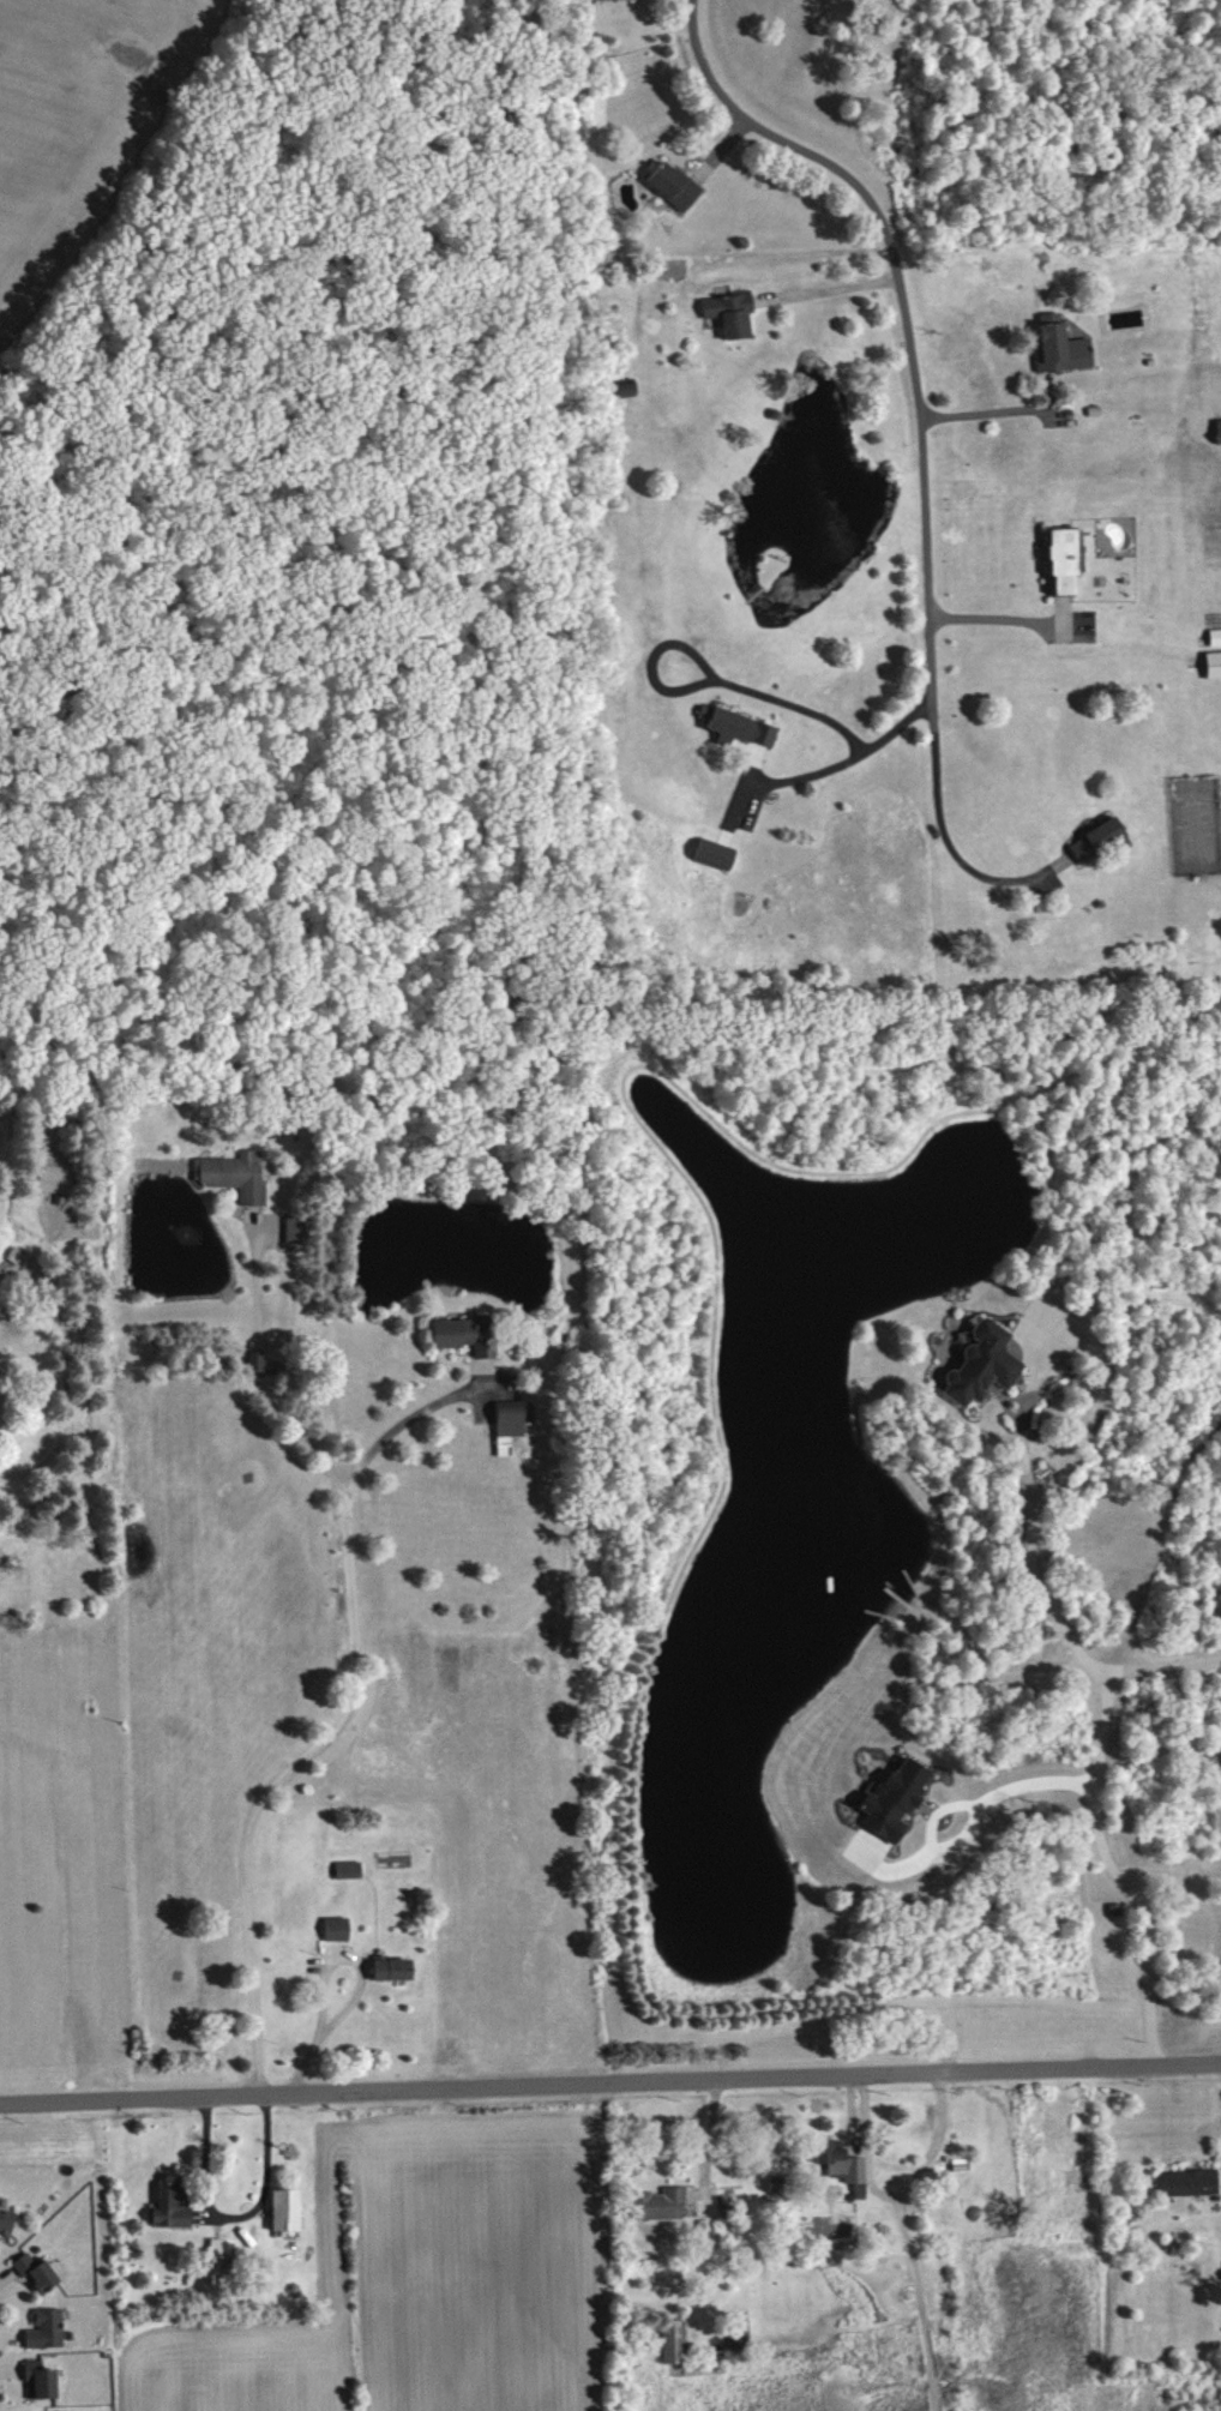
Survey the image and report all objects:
building: (676, 185)
road: (825, 284)
road: (904, 311)
building: (734, 313)
building: (1063, 347)
road: (986, 404)
building: (1220, 429)
building: (1065, 561)
road: (997, 613)
building: (1215, 665)
road: (800, 705)
building: (741, 727)
road: (847, 752)
building: (1101, 840)
road: (949, 844)
building: (716, 854)
building: (58, 1172)
building: (237, 1176)
building: (300, 1229)
building: (467, 1336)
building: (259, 1361)
building: (985, 1364)
road: (71, 1387)
building: (515, 1418)
road: (307, 1439)
road: (1057, 1611)
road: (1166, 1666)
road: (337, 1715)
building: (897, 1799)
road: (978, 1818)
building: (351, 1869)
building: (339, 1929)
building: (396, 1968)
road: (609, 2082)
road: (942, 2140)
building: (847, 2165)
building: (1192, 2182)
building: (661, 2203)
building: (175, 2207)
building: (288, 2209)
building: (7, 2221)
road: (909, 2233)
building: (224, 2248)
building: (40, 2272)
building: (49, 2329)
building: (742, 2334)
building: (676, 2341)
building: (44, 2380)

